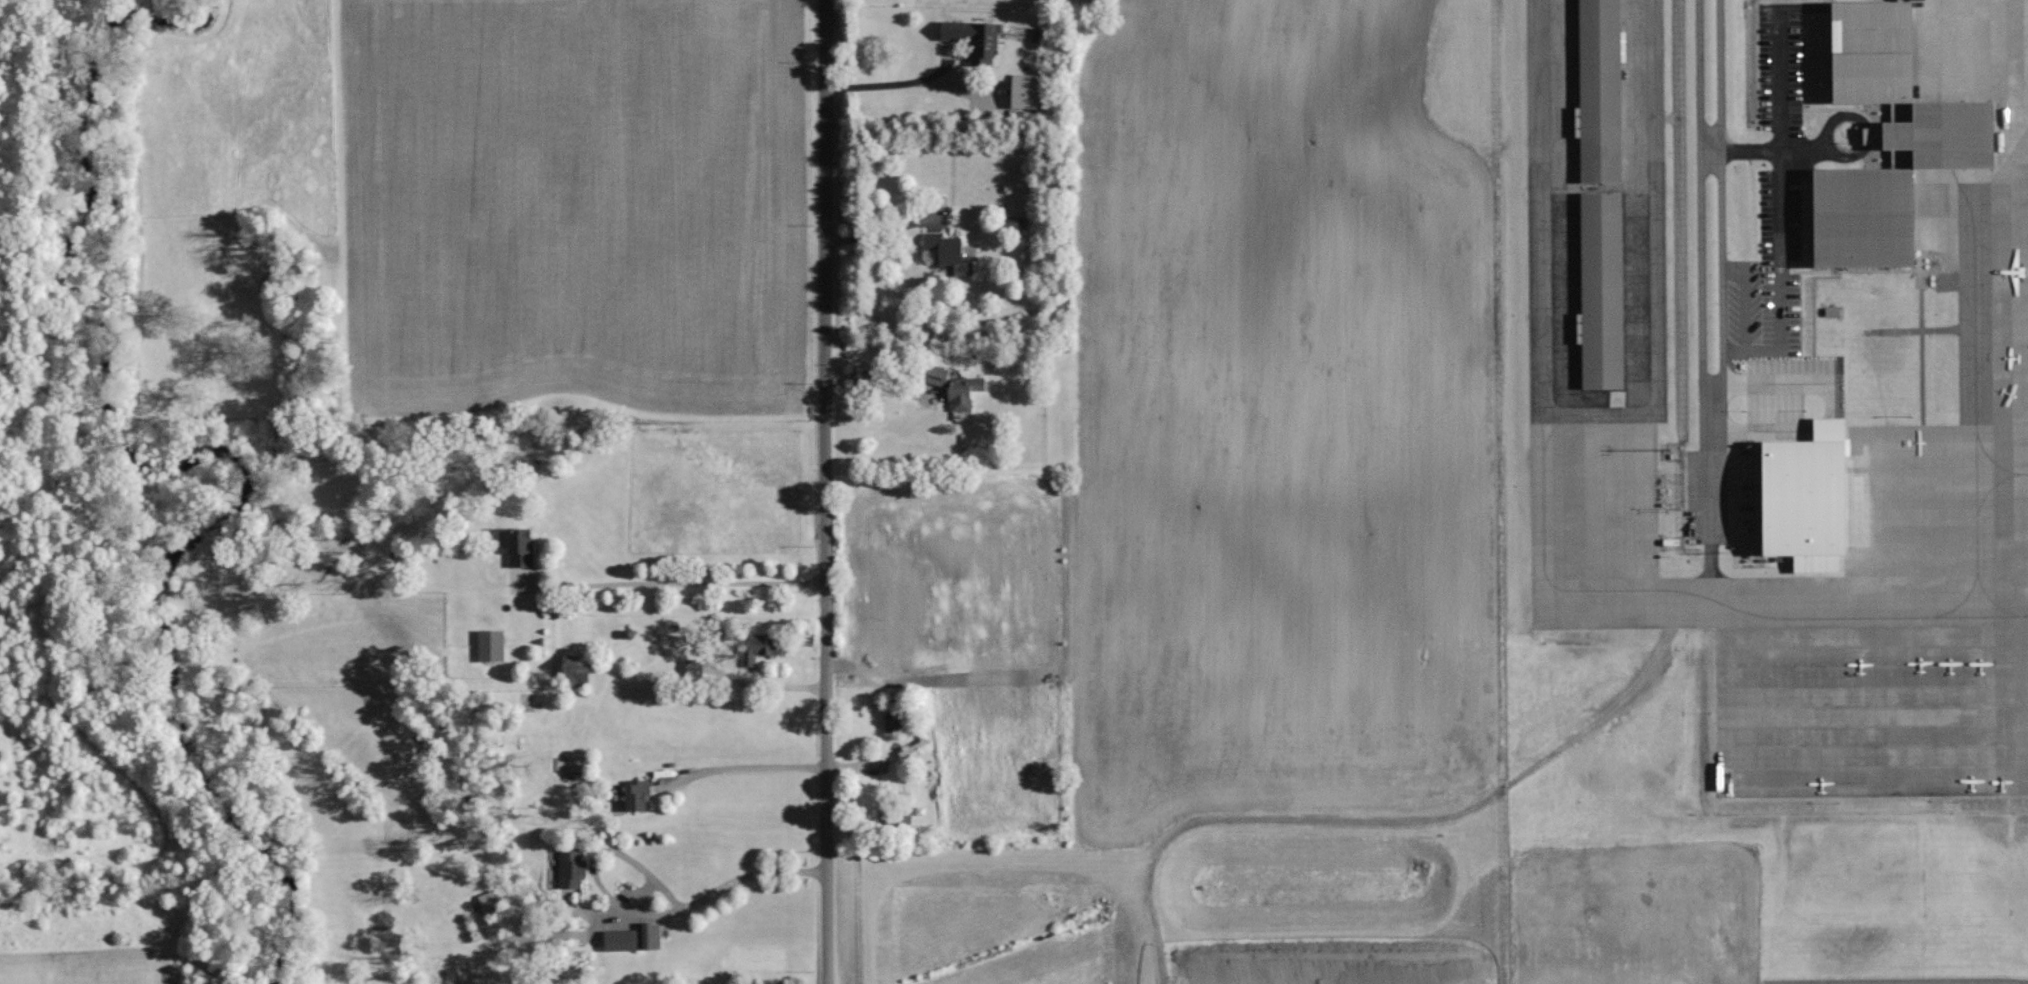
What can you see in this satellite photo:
building: (973, 39)
road: (890, 80)
building: (1024, 91)
building: (1598, 96)
road: (1784, 136)
building: (1887, 141)
road: (1742, 154)
building: (1015, 223)
road: (1721, 224)
road: (1700, 225)
road: (880, 234)
building: (947, 254)
road: (1921, 275)
building: (1600, 299)
building: (934, 375)
road: (879, 392)
building: (963, 392)
airport taxiway: (2002, 475)
airport: (1766, 490)
road: (826, 491)
road: (1714, 497)
building: (1806, 498)
building: (519, 546)
road: (689, 589)
airport taxiway: (1897, 594)
building: (490, 644)
building: (760, 647)
road: (878, 656)
building: (693, 667)
building: (575, 670)
building: (891, 719)
road: (752, 768)
building: (636, 793)
building: (570, 868)
road: (721, 890)
building: (488, 901)
building: (650, 935)
building: (619, 940)

